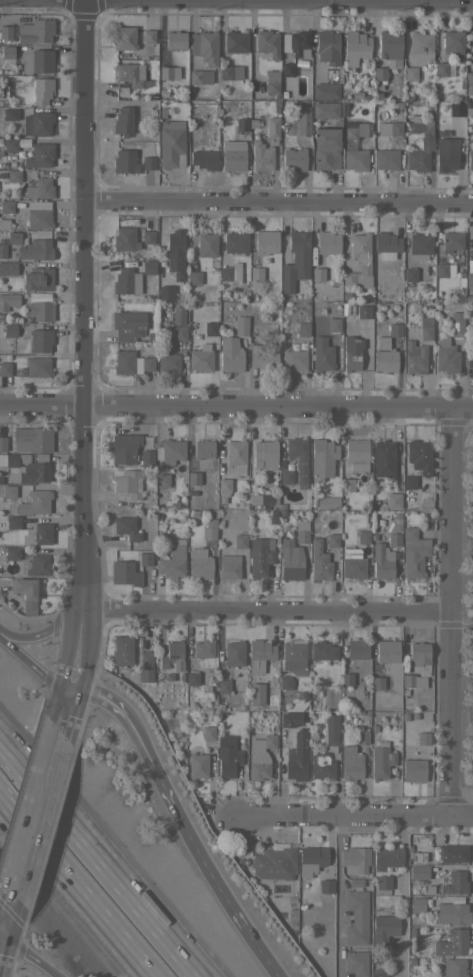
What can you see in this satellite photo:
building: (35, 31)
building: (6, 32)
building: (149, 36)
building: (125, 38)
building: (472, 38)
building: (176, 39)
building: (236, 41)
building: (267, 42)
building: (299, 43)
building: (453, 43)
building: (327, 46)
building: (356, 46)
building: (421, 46)
building: (205, 47)
building: (391, 47)
building: (7, 56)
building: (38, 61)
building: (444, 68)
building: (288, 69)
building: (166, 72)
building: (231, 72)
building: (380, 73)
building: (411, 73)
building: (131, 74)
building: (201, 76)
building: (272, 82)
building: (469, 83)
building: (42, 89)
building: (122, 91)
building: (325, 91)
building: (356, 95)
building: (457, 109)
building: (325, 110)
building: (11, 114)
building: (124, 120)
building: (302, 121)
building: (37, 124)
building: (242, 124)
building: (273, 127)
building: (390, 128)
building: (358, 130)
building: (171, 143)
building: (420, 143)
building: (10, 145)
building: (326, 148)
building: (446, 153)
building: (39, 155)
building: (233, 155)
building: (261, 156)
building: (203, 159)
building: (294, 159)
building: (355, 159)
building: (386, 159)
building: (470, 159)
building: (125, 161)
building: (148, 162)
building: (13, 176)
building: (40, 188)
road: (278, 201)
building: (6, 207)
building: (38, 214)
building: (4, 224)
building: (148, 237)
building: (124, 239)
building: (452, 240)
building: (9, 241)
building: (235, 242)
building: (266, 242)
building: (327, 242)
building: (206, 244)
building: (386, 245)
building: (419, 246)
building: (36, 249)
building: (175, 253)
building: (295, 260)
building: (359, 261)
building: (148, 267)
building: (7, 268)
building: (441, 270)
building: (229, 272)
building: (256, 273)
building: (317, 274)
building: (409, 274)
building: (194, 277)
building: (38, 279)
building: (126, 281)
building: (469, 281)
building: (165, 292)
building: (345, 297)
building: (8, 300)
road: (83, 304)
building: (39, 310)
building: (363, 311)
building: (456, 322)
building: (128, 325)
building: (241, 325)
building: (333, 325)
building: (210, 328)
building: (303, 329)
building: (395, 329)
building: (426, 329)
building: (9, 330)
building: (179, 333)
building: (150, 337)
building: (40, 340)
building: (381, 343)
building: (352, 353)
building: (230, 354)
building: (321, 354)
building: (445, 355)
building: (262, 357)
building: (414, 357)
building: (201, 358)
building: (294, 359)
building: (385, 360)
building: (469, 360)
building: (168, 362)
building: (131, 363)
building: (37, 366)
building: (5, 368)
road: (236, 406)
building: (32, 439)
building: (3, 443)
building: (203, 448)
building: (129, 450)
building: (169, 450)
building: (265, 454)
building: (356, 454)
building: (236, 455)
building: (419, 456)
building: (322, 457)
building: (298, 458)
building: (383, 458)
building: (26, 467)
building: (285, 476)
building: (193, 478)
building: (1, 480)
building: (162, 480)
building: (409, 482)
building: (128, 483)
building: (347, 484)
building: (224, 485)
building: (189, 490)
building: (8, 491)
building: (221, 500)
building: (260, 500)
building: (393, 500)
building: (35, 502)
building: (327, 502)
building: (395, 515)
building: (271, 516)
building: (13, 521)
building: (2, 523)
building: (396, 527)
building: (126, 528)
building: (209, 529)
building: (301, 532)
building: (37, 534)
building: (363, 536)
building: (332, 540)
building: (393, 540)
building: (240, 541)
building: (413, 552)
building: (12, 553)
building: (259, 556)
building: (145, 559)
building: (290, 559)
building: (173, 561)
building: (319, 561)
building: (381, 561)
building: (199, 564)
building: (352, 564)
building: (37, 565)
building: (228, 567)
building: (124, 573)
building: (23, 588)
road: (265, 608)
building: (27, 610)
road: (449, 611)
road: (43, 633)
building: (202, 648)
road: (65, 649)
road: (85, 649)
building: (357, 649)
building: (322, 650)
building: (122, 651)
building: (387, 651)
building: (171, 653)
building: (233, 653)
building: (259, 654)
building: (293, 657)
building: (419, 657)
road: (27, 664)
building: (144, 667)
building: (191, 677)
building: (345, 679)
building: (412, 680)
building: (284, 682)
building: (376, 682)
building: (223, 686)
road: (68, 691)
building: (256, 694)
building: (302, 694)
road: (52, 705)
road: (64, 705)
road: (73, 712)
building: (331, 728)
building: (208, 733)
building: (361, 737)
building: (422, 737)
road: (141, 739)
building: (269, 741)
road: (62, 756)
building: (227, 756)
building: (294, 756)
building: (380, 759)
building: (350, 763)
building: (197, 765)
building: (258, 765)
building: (322, 765)
building: (413, 770)
road: (30, 778)
road: (353, 814)
road: (38, 846)
building: (453, 852)
road: (104, 854)
building: (387, 857)
building: (416, 857)
building: (355, 858)
building: (311, 859)
road: (6, 861)
building: (275, 862)
building: (418, 871)
building: (354, 883)
building: (383, 883)
building: (454, 883)
building: (325, 886)
road: (73, 889)
road: (225, 895)
road: (337, 895)
road: (404, 895)
building: (417, 904)
building: (451, 913)
building: (356, 917)
road: (8, 922)
building: (383, 929)
building: (412, 933)
building: (451, 943)
road: (30, 955)
building: (410, 962)
building: (356, 963)
building: (454, 967)
building: (379, 972)

